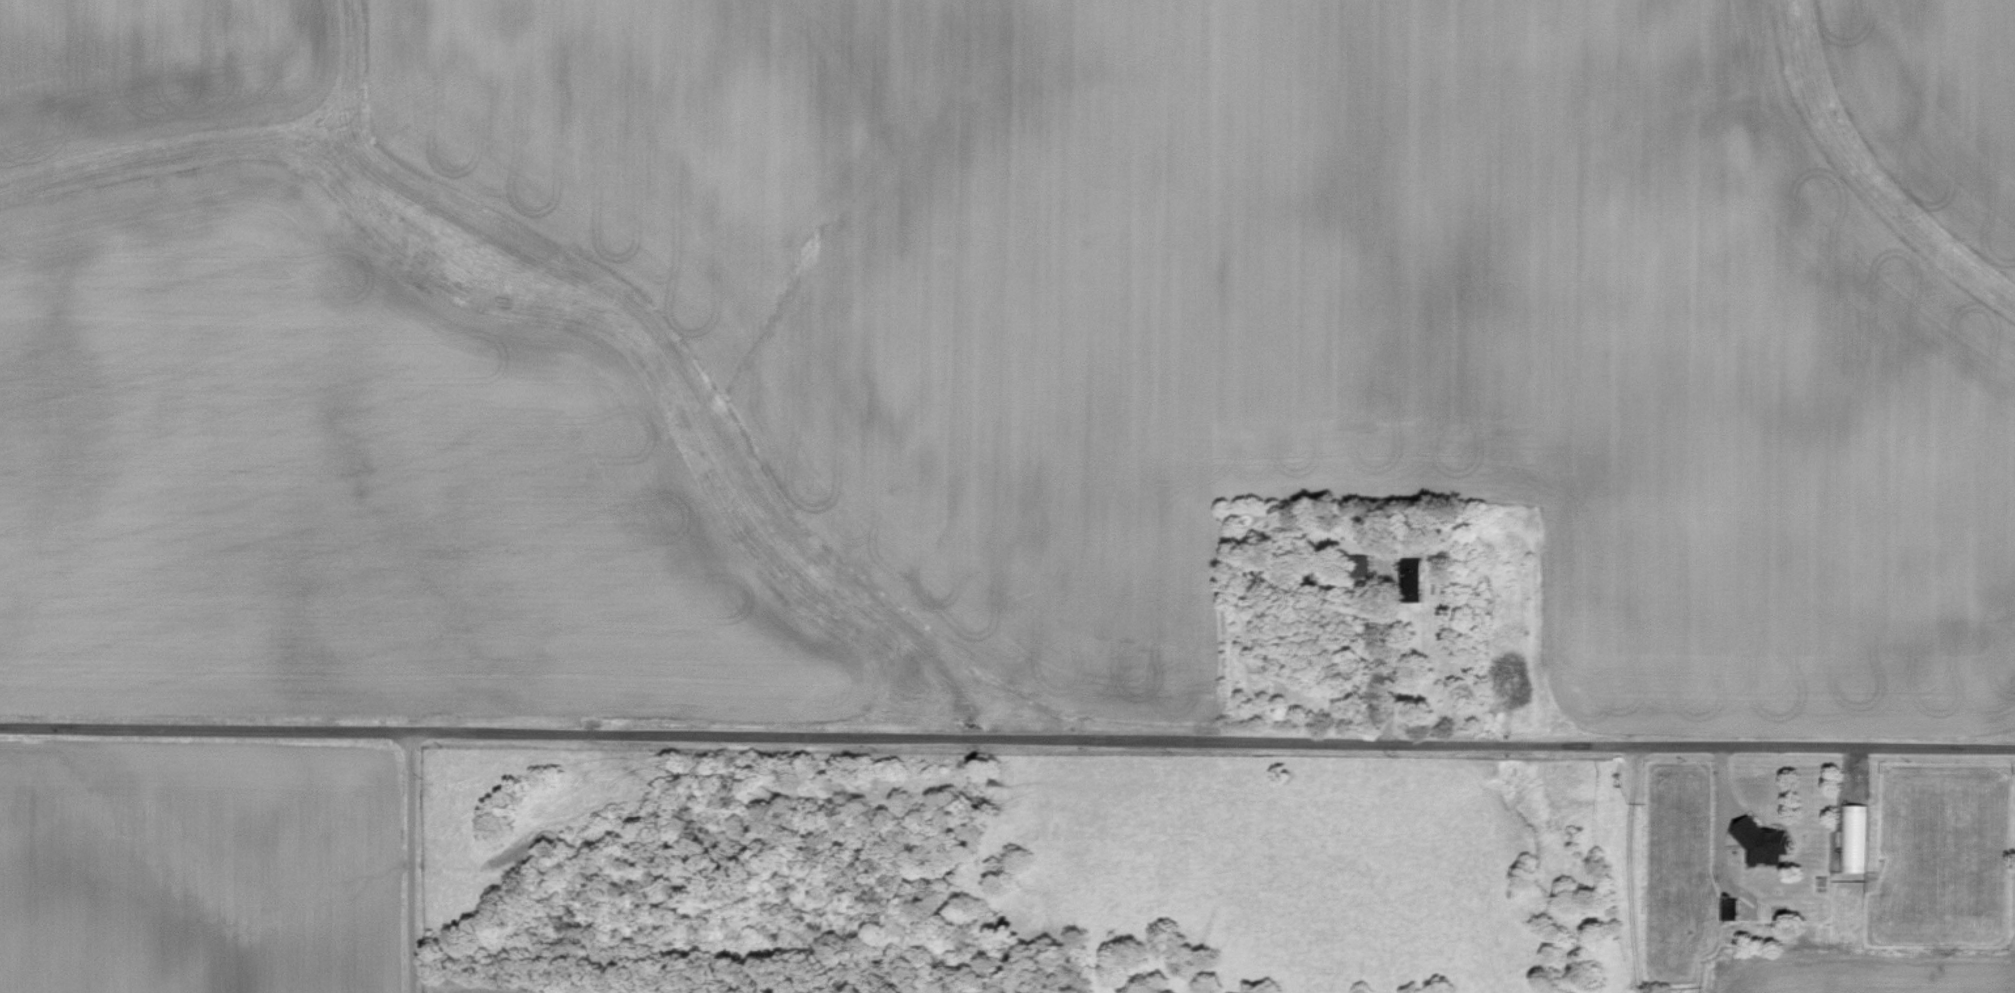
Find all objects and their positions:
road: (1389, 653)
road: (1007, 737)
road: (1719, 824)
building: (1765, 843)
road: (409, 862)

